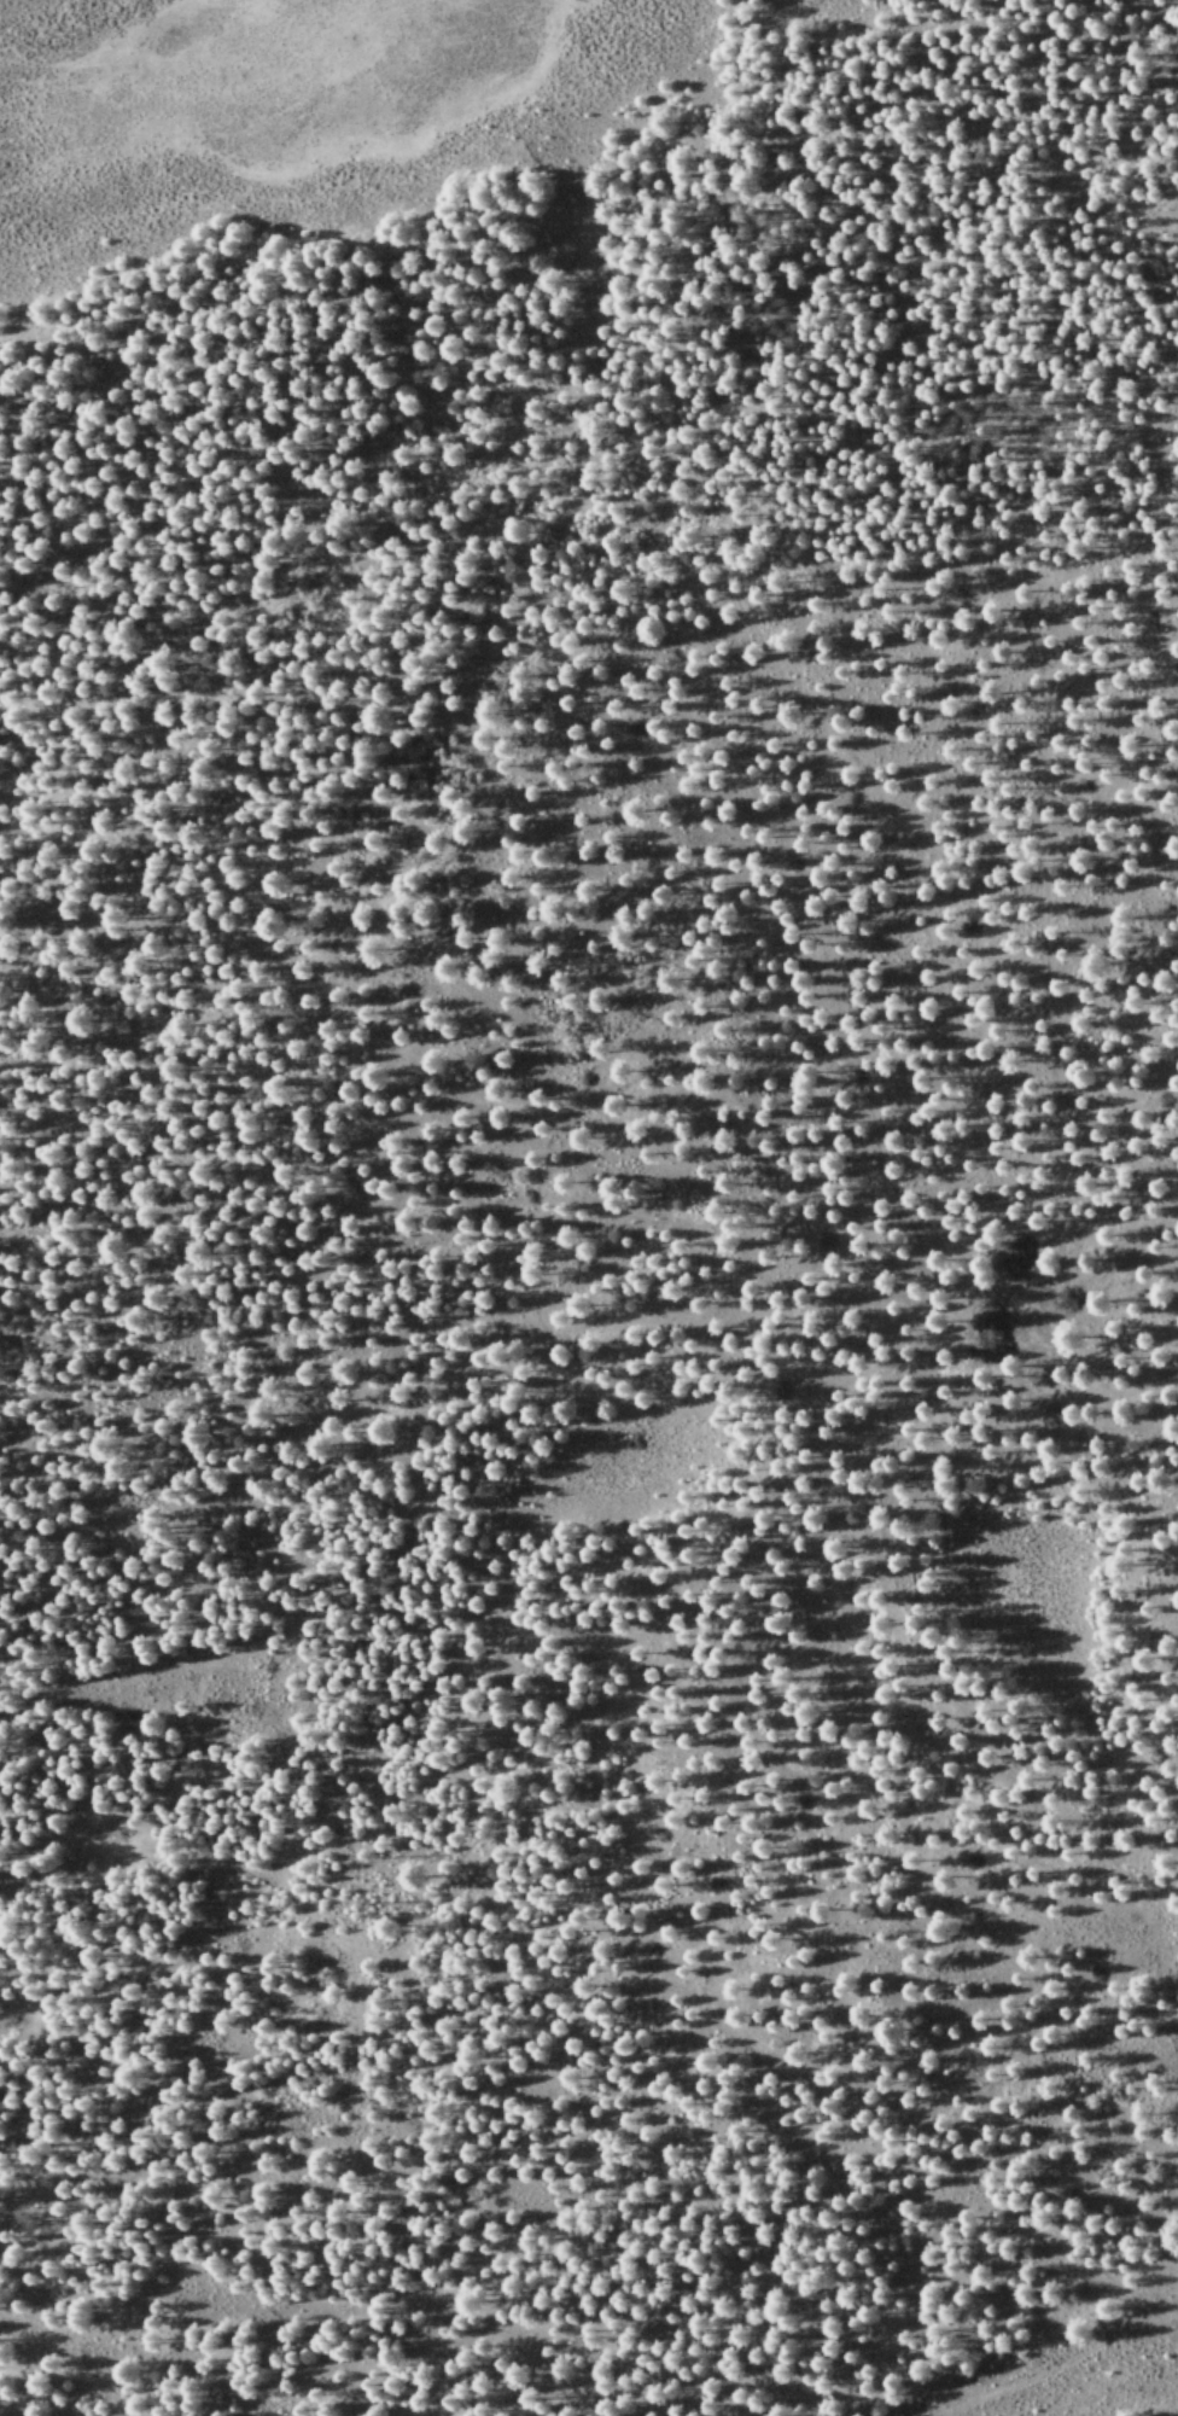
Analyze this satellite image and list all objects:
road: (105, 2)

